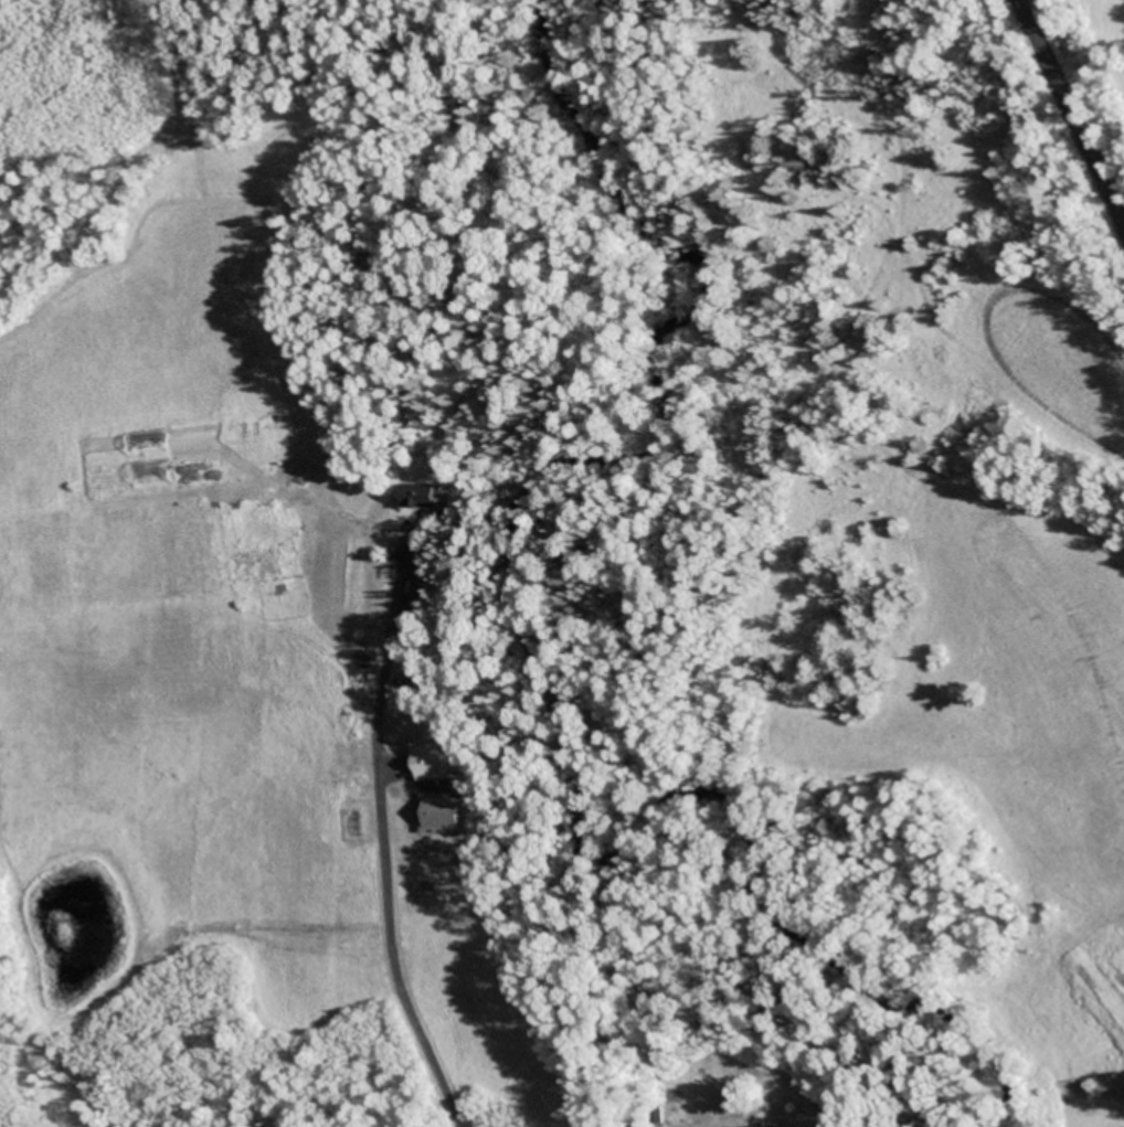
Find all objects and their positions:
road: (1093, 63)
building: (417, 498)
building: (416, 561)
building: (426, 764)
building: (439, 815)

